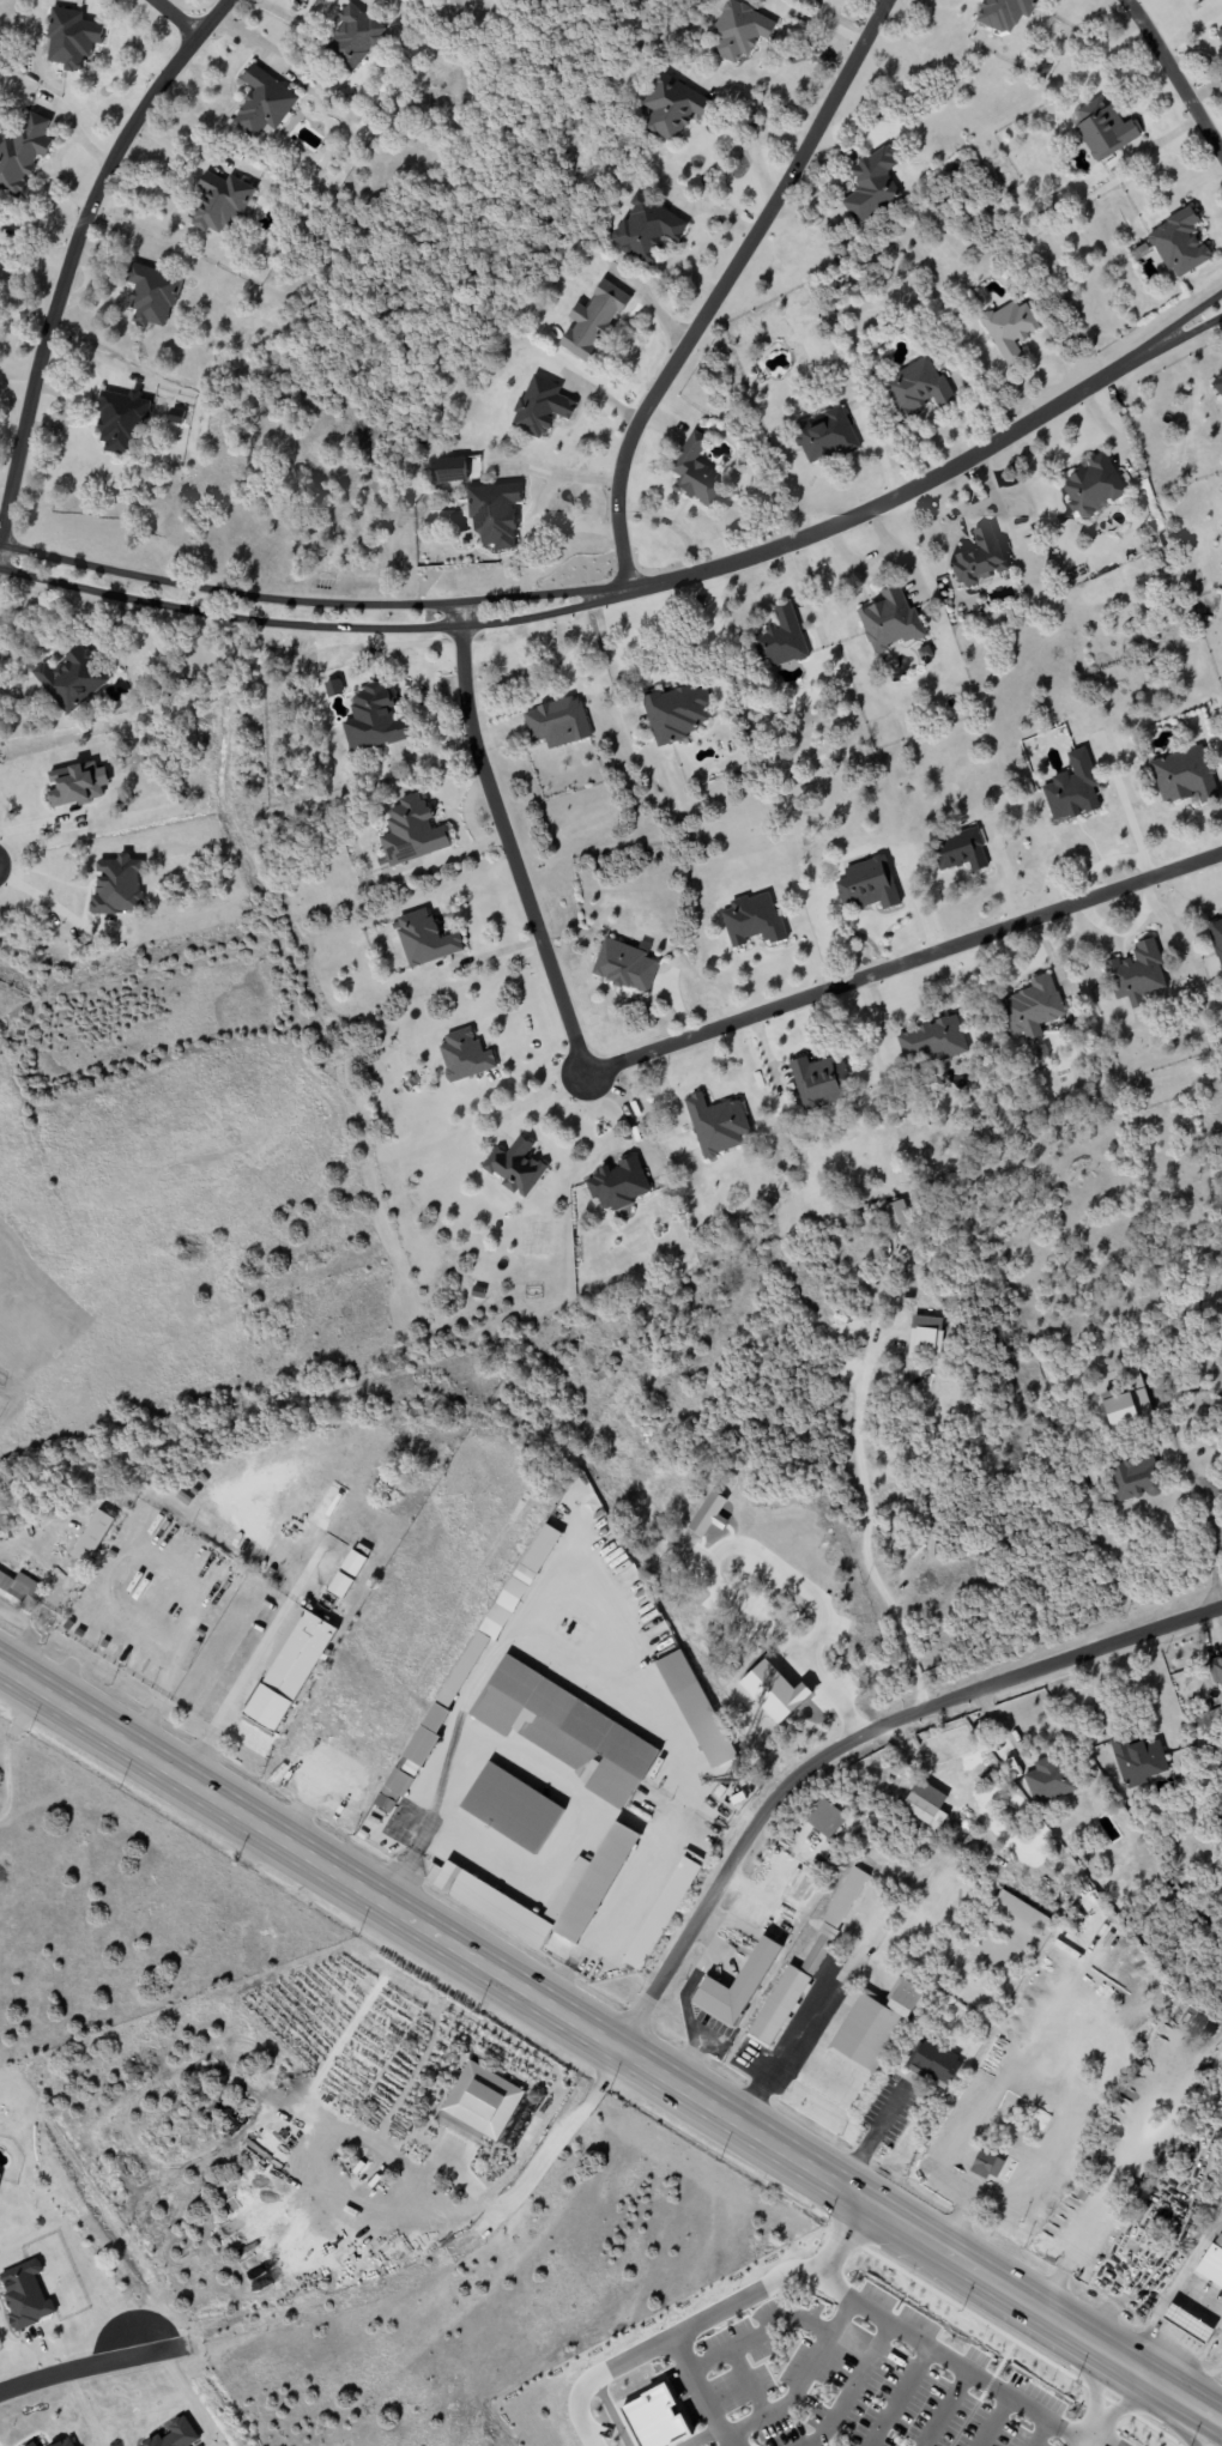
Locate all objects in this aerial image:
building: (1004, 13)
road: (176, 18)
building: (738, 31)
building: (1218, 35)
building: (352, 36)
building: (69, 38)
road: (1174, 77)
building: (262, 105)
building: (671, 107)
building: (1102, 128)
road: (752, 143)
building: (23, 152)
building: (871, 184)
building: (218, 204)
building: (646, 229)
building: (1179, 242)
road: (77, 246)
building: (0, 250)
road: (720, 286)
building: (151, 295)
building: (593, 320)
road: (1220, 323)
building: (1009, 328)
road: (1167, 332)
road: (1169, 347)
building: (1217, 383)
building: (916, 387)
building: (540, 406)
building: (176, 416)
building: (121, 422)
building: (825, 436)
building: (449, 468)
building: (695, 471)
building: (1091, 486)
road: (542, 502)
road: (884, 508)
building: (494, 514)
building: (979, 558)
road: (313, 603)
building: (890, 620)
road: (315, 630)
building: (781, 638)
building: (71, 679)
building: (676, 713)
building: (374, 719)
building: (556, 722)
building: (1182, 775)
building: (75, 783)
building: (1071, 788)
building: (411, 831)
building: (960, 850)
building: (116, 885)
building: (866, 885)
road: (1191, 892)
road: (38, 897)
building: (752, 920)
building: (424, 939)
building: (1216, 939)
building: (624, 964)
building: (1136, 974)
building: (1032, 1007)
building: (932, 1041)
road: (672, 1042)
building: (464, 1055)
building: (818, 1082)
building: (716, 1125)
building: (514, 1167)
building: (617, 1183)
building: (896, 1216)
building: (925, 1334)
building: (1127, 1401)
park: (1, 1405)
building: (1135, 1478)
building: (708, 1514)
road: (867, 1526)
road: (1210, 1534)
building: (92, 1537)
road: (276, 1544)
building: (356, 1560)
road: (709, 1575)
building: (340, 1585)
building: (20, 1591)
building: (289, 1670)
building: (1215, 1670)
road: (235, 1688)
building: (772, 1691)
building: (690, 1708)
building: (562, 1730)
road: (849, 1740)
building: (1137, 1761)
building: (1048, 1779)
building: (392, 1791)
building: (922, 1802)
building: (509, 1809)
building: (824, 1817)
building: (591, 1882)
building: (489, 1902)
building: (1021, 1911)
building: (659, 1914)
building: (801, 1964)
building: (733, 1980)
road: (811, 2017)
building: (871, 2023)
road: (610, 2047)
building: (934, 2060)
road: (822, 2067)
road: (1059, 2085)
building: (478, 2100)
road: (872, 2135)
building: (987, 2161)
road: (542, 2165)
building: (1, 2176)
road: (1199, 2247)
building: (1212, 2262)
building: (29, 2293)
road: (1168, 2303)
road: (707, 2317)
building: (1184, 2324)
gas station: (1184, 2324)
road: (757, 2332)
road: (961, 2360)
road: (1197, 2360)
road: (77, 2367)
road: (1094, 2375)
parking lot: (861, 2380)
road: (746, 2381)
road: (801, 2381)
road: (851, 2383)
road: (700, 2394)
road: (899, 2394)
road: (1131, 2400)
road: (945, 2405)
building: (652, 2417)
road: (996, 2418)
road: (1039, 2429)
road: (1091, 2430)
building: (176, 2434)
road: (1084, 2441)
building: (62, 2442)
building: (32, 2444)

